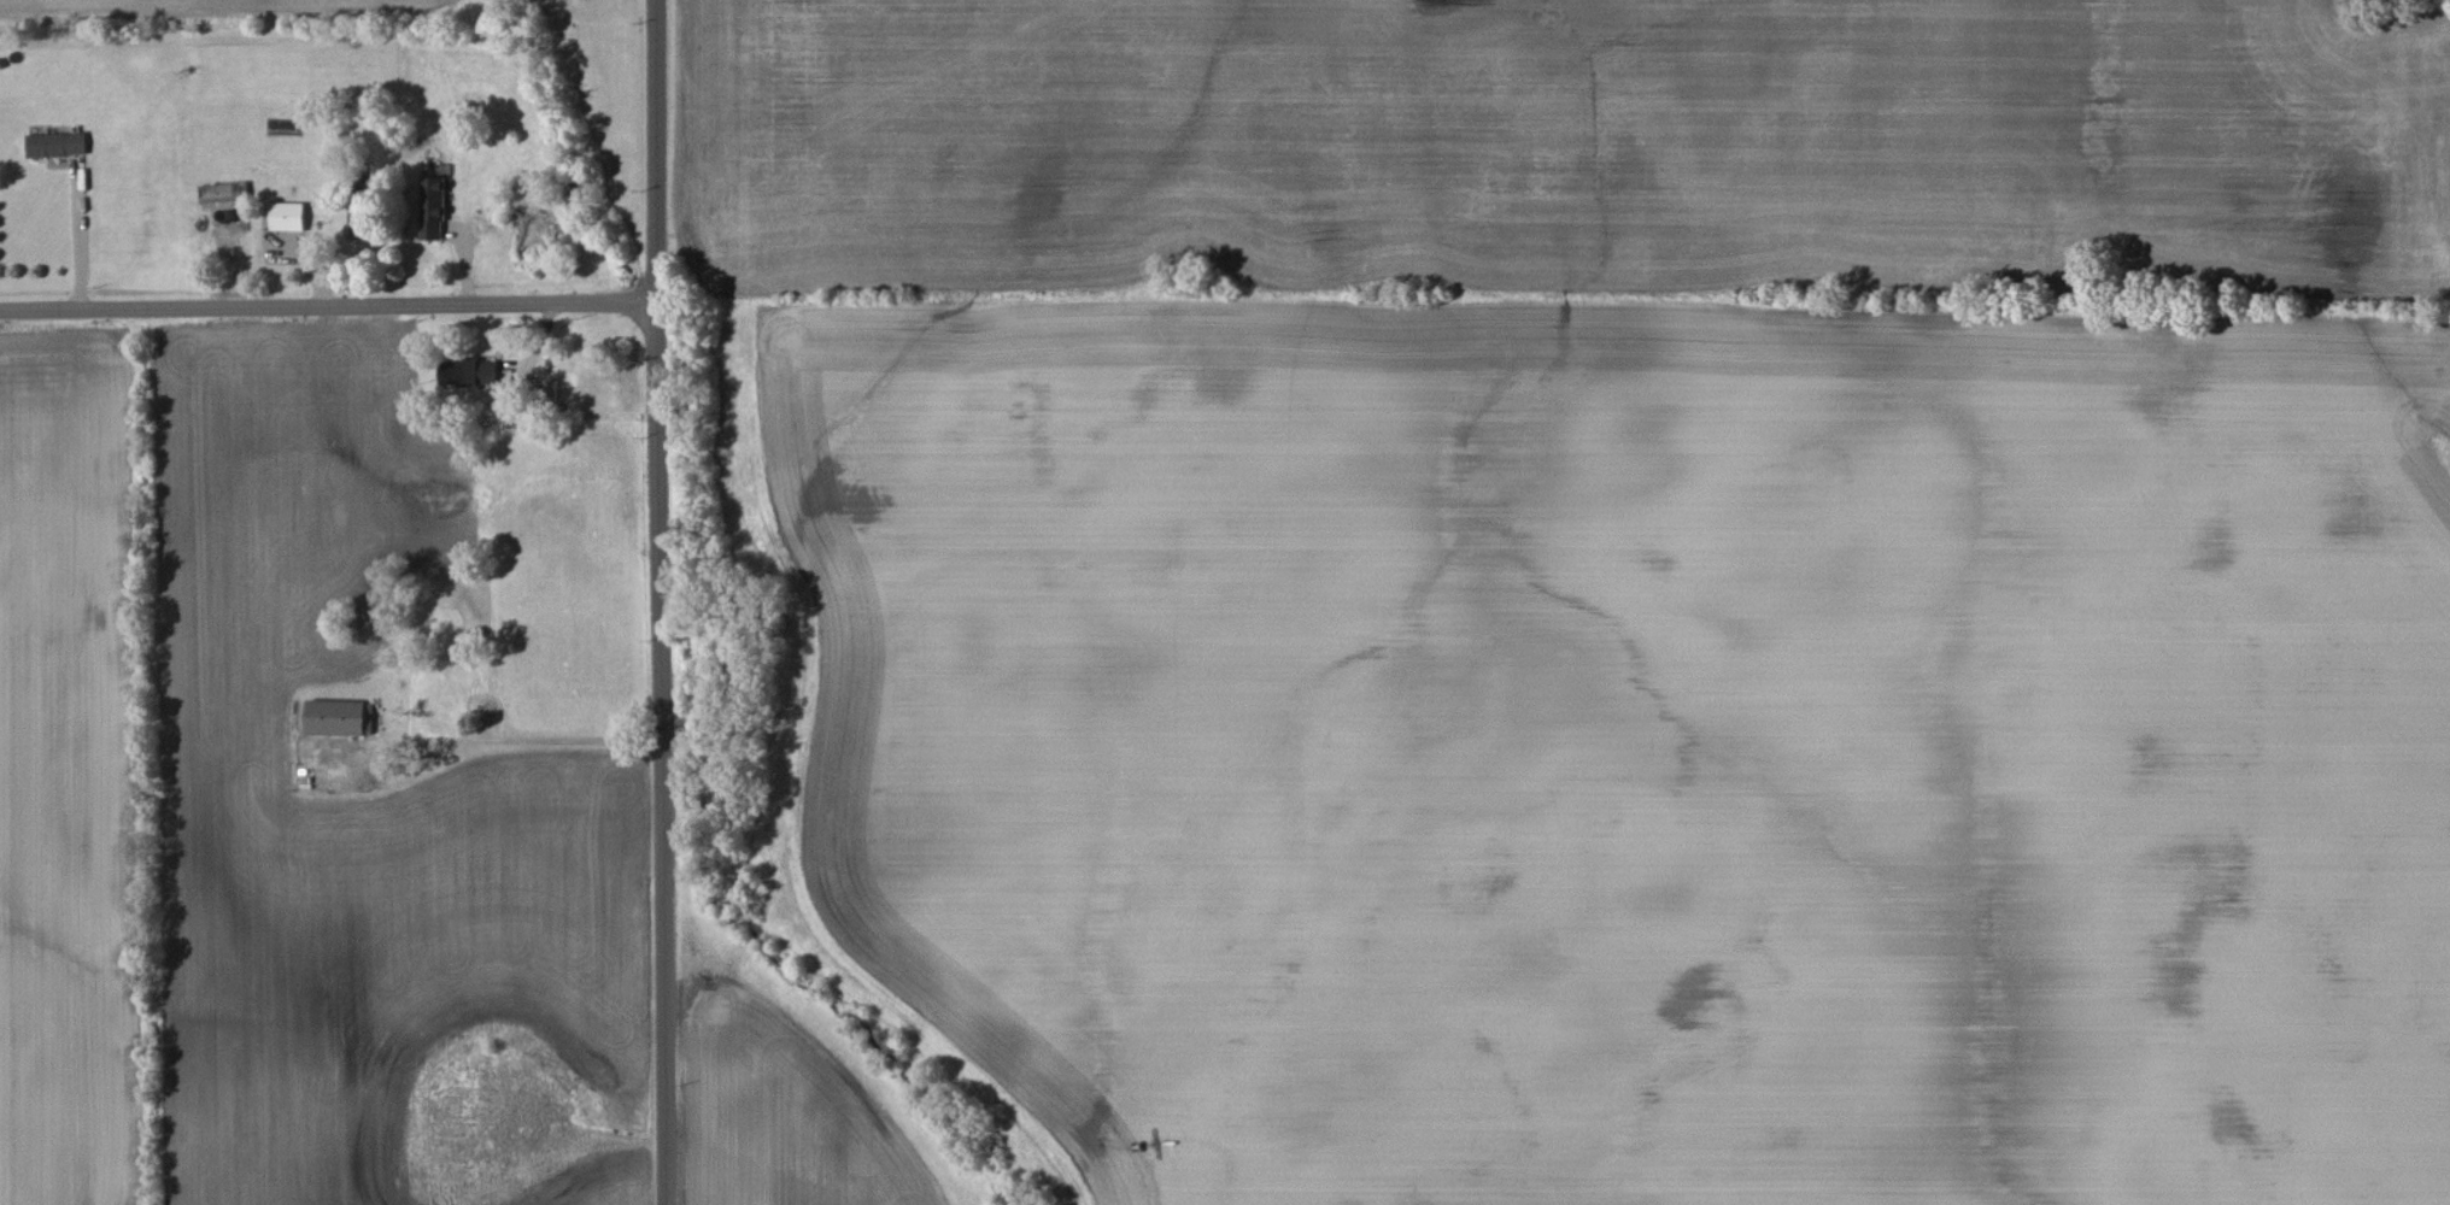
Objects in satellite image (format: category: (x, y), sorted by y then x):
building: (55, 143)
road: (656, 151)
building: (432, 207)
building: (287, 216)
road: (80, 243)
road: (328, 306)
building: (468, 372)
building: (340, 717)
road: (543, 743)
road: (678, 752)

